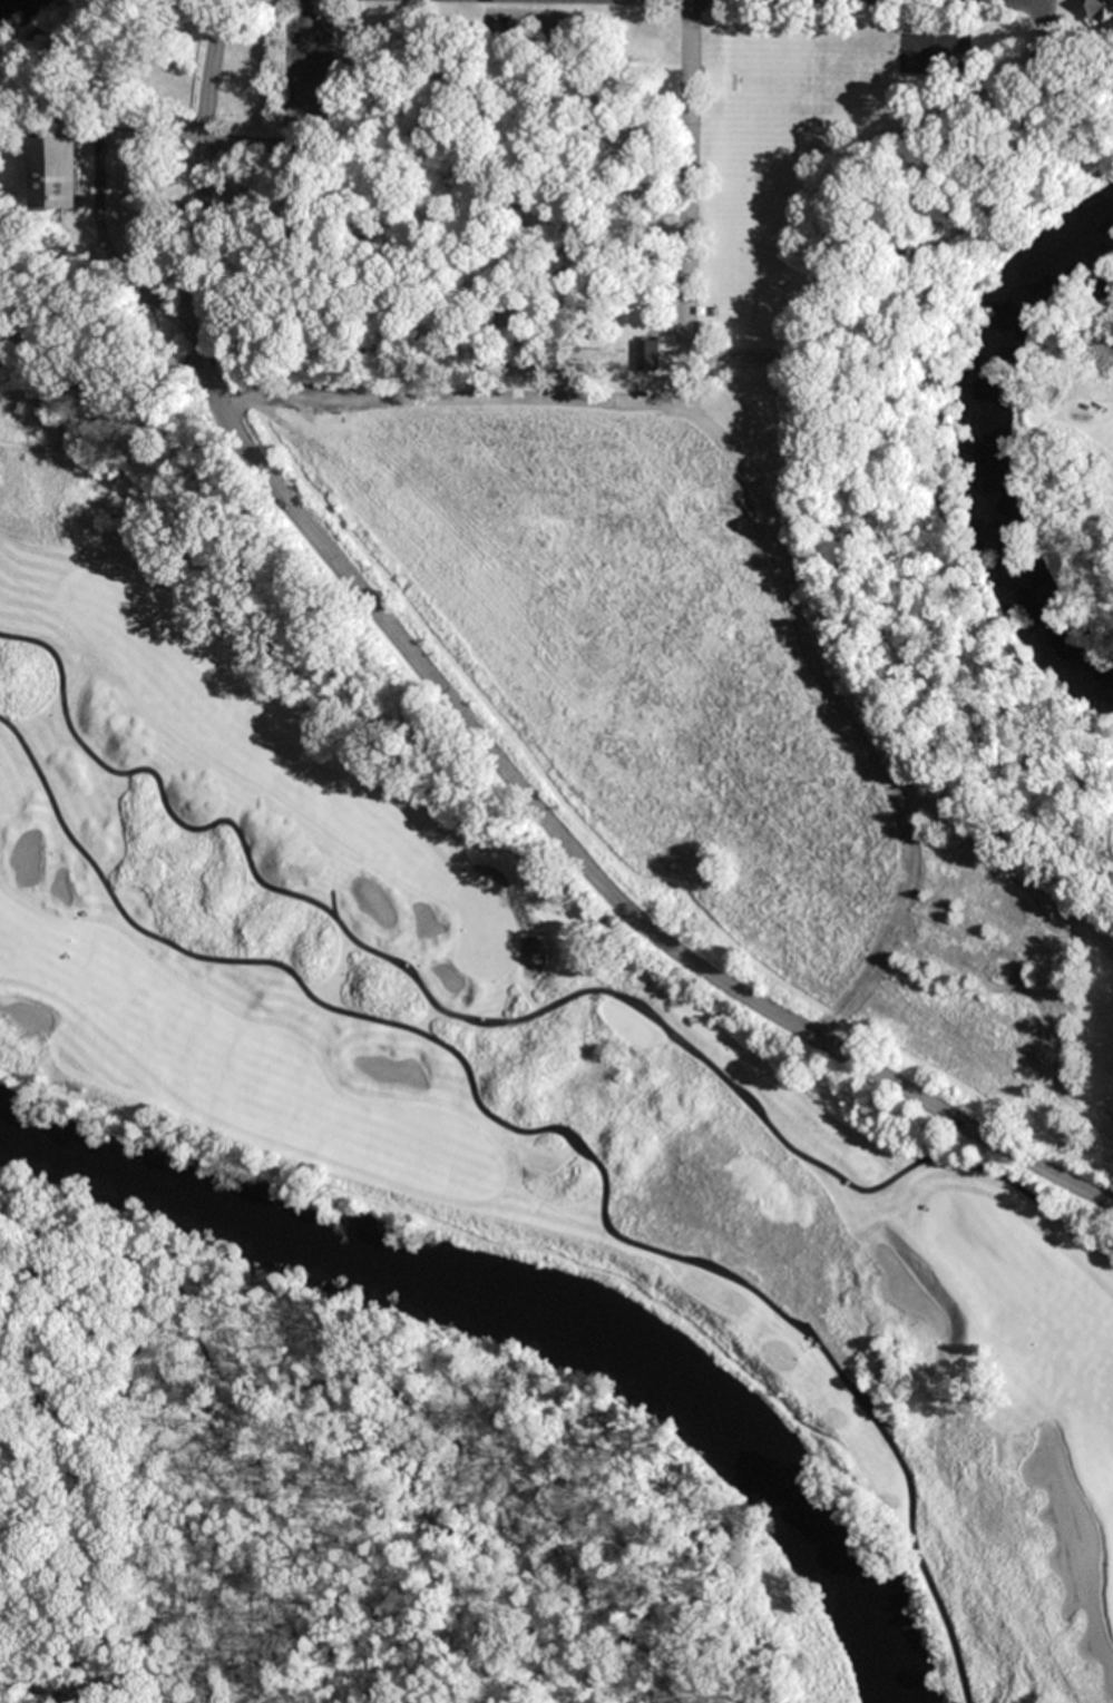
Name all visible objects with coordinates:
road: (1000, 0)
river: (10, 4)
building: (1102, 10)
road: (689, 160)
building: (61, 172)
park: (628, 190)
road: (102, 202)
building: (575, 238)
building: (632, 352)
road: (488, 398)
river: (976, 442)
road: (469, 722)
road: (837, 722)
park: (481, 930)
park: (596, 986)
road: (410, 987)
road: (563, 1131)
river: (526, 1298)

